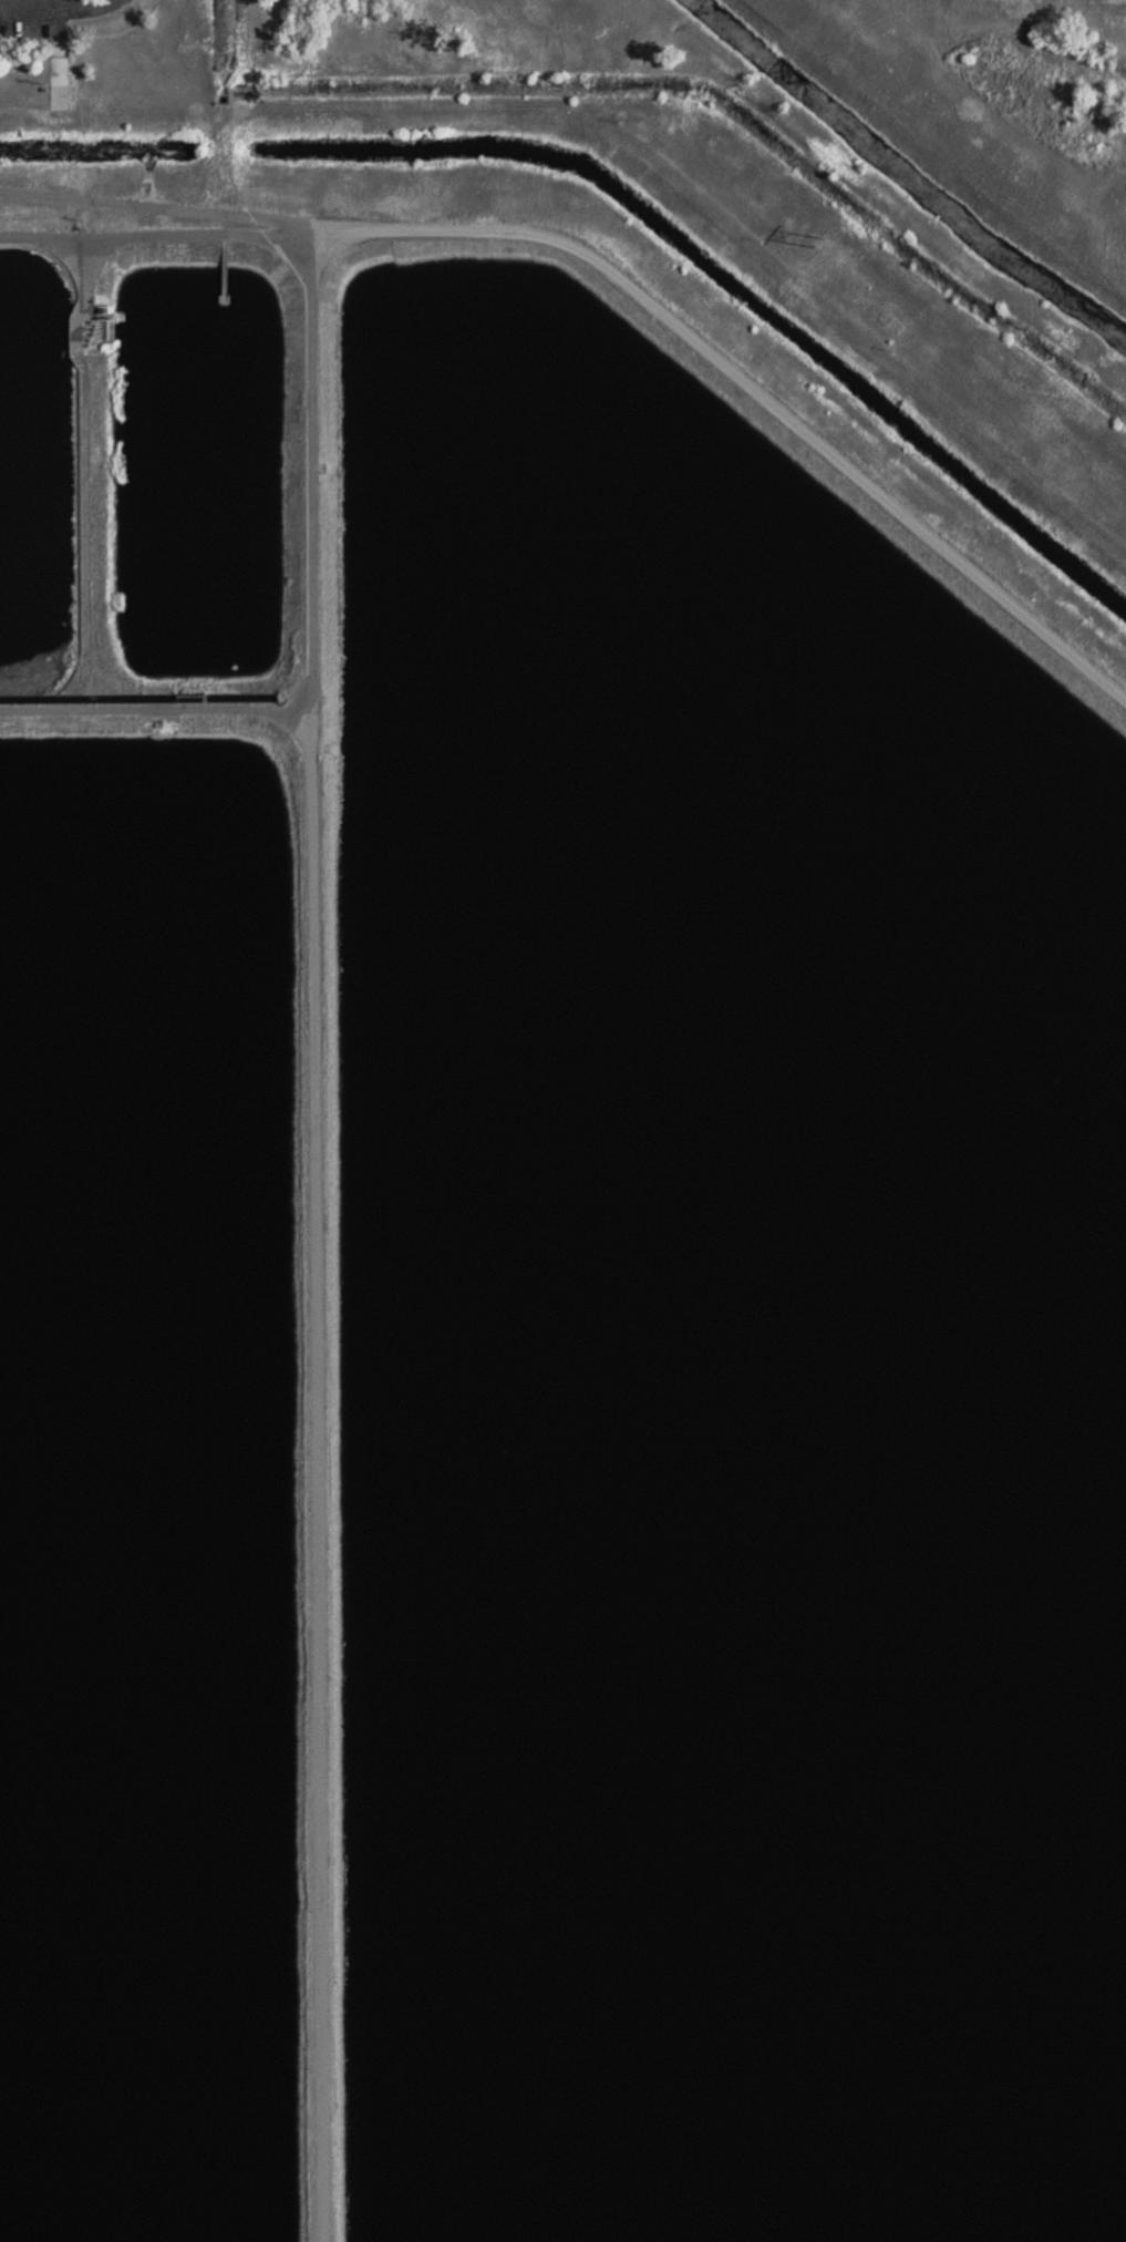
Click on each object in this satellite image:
road: (55, 9)
power tower: (820, 241)
road: (312, 744)
wastewater plant: (562, 1121)

